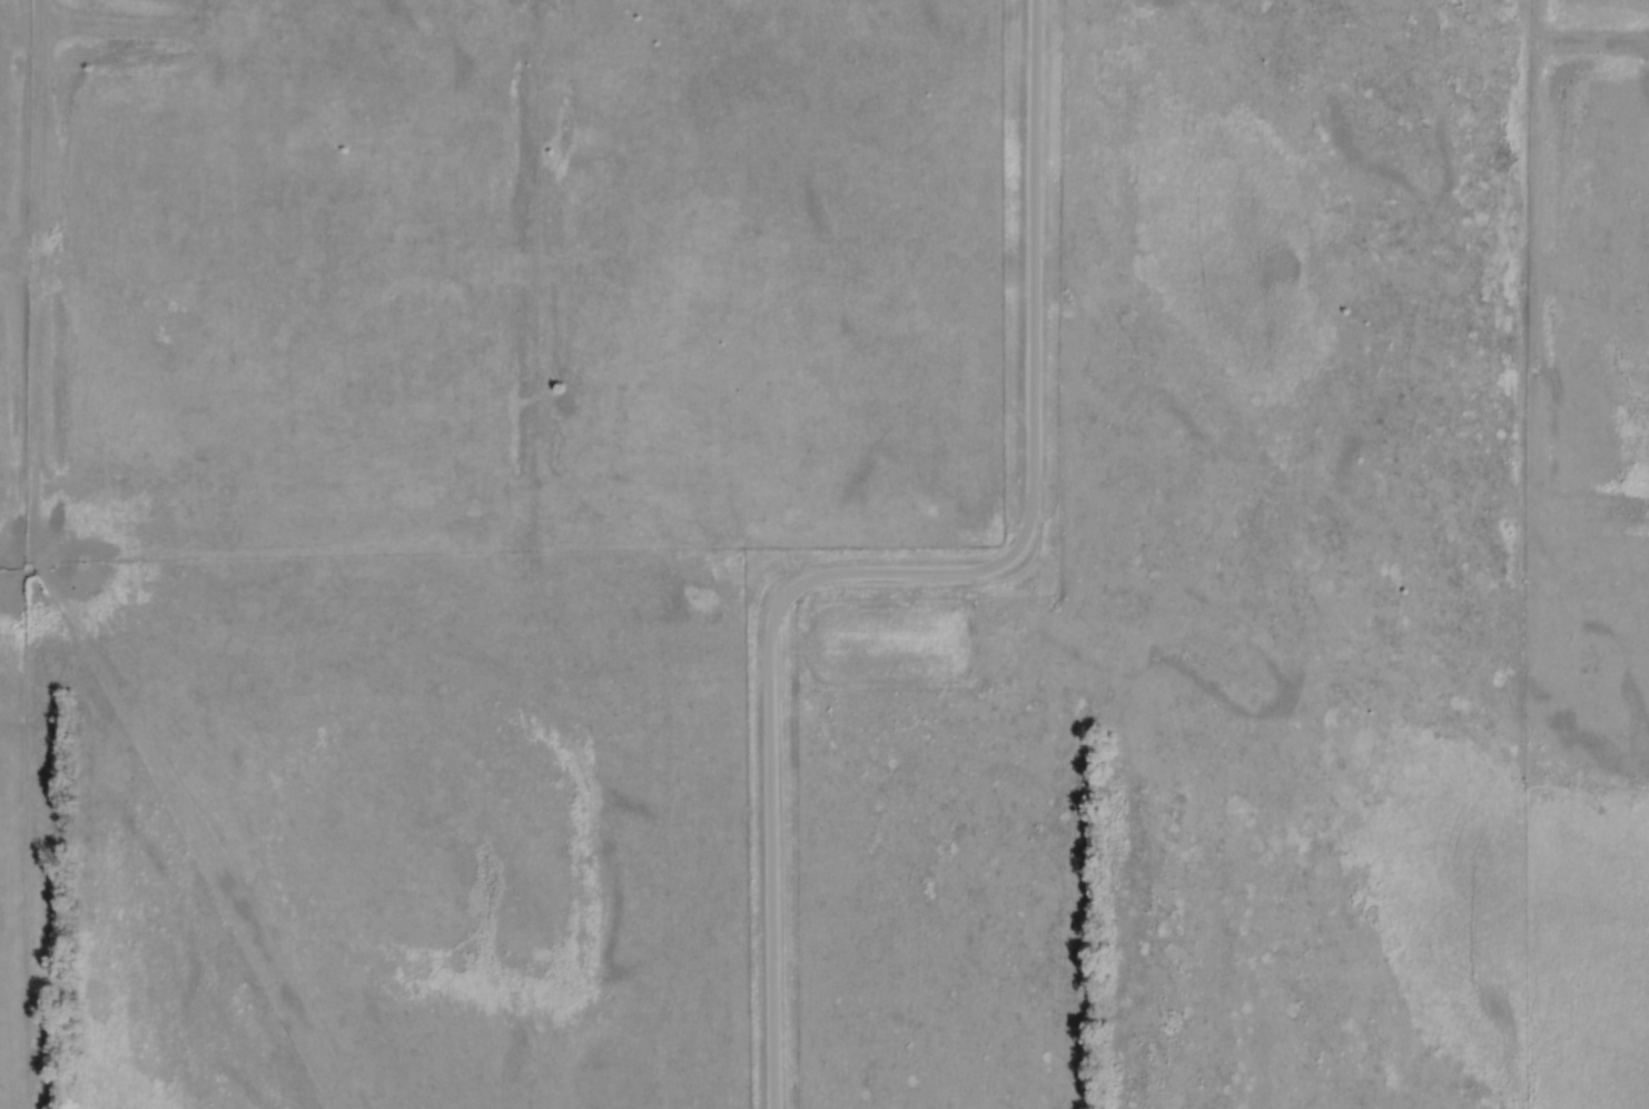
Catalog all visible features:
road: (920, 576)

